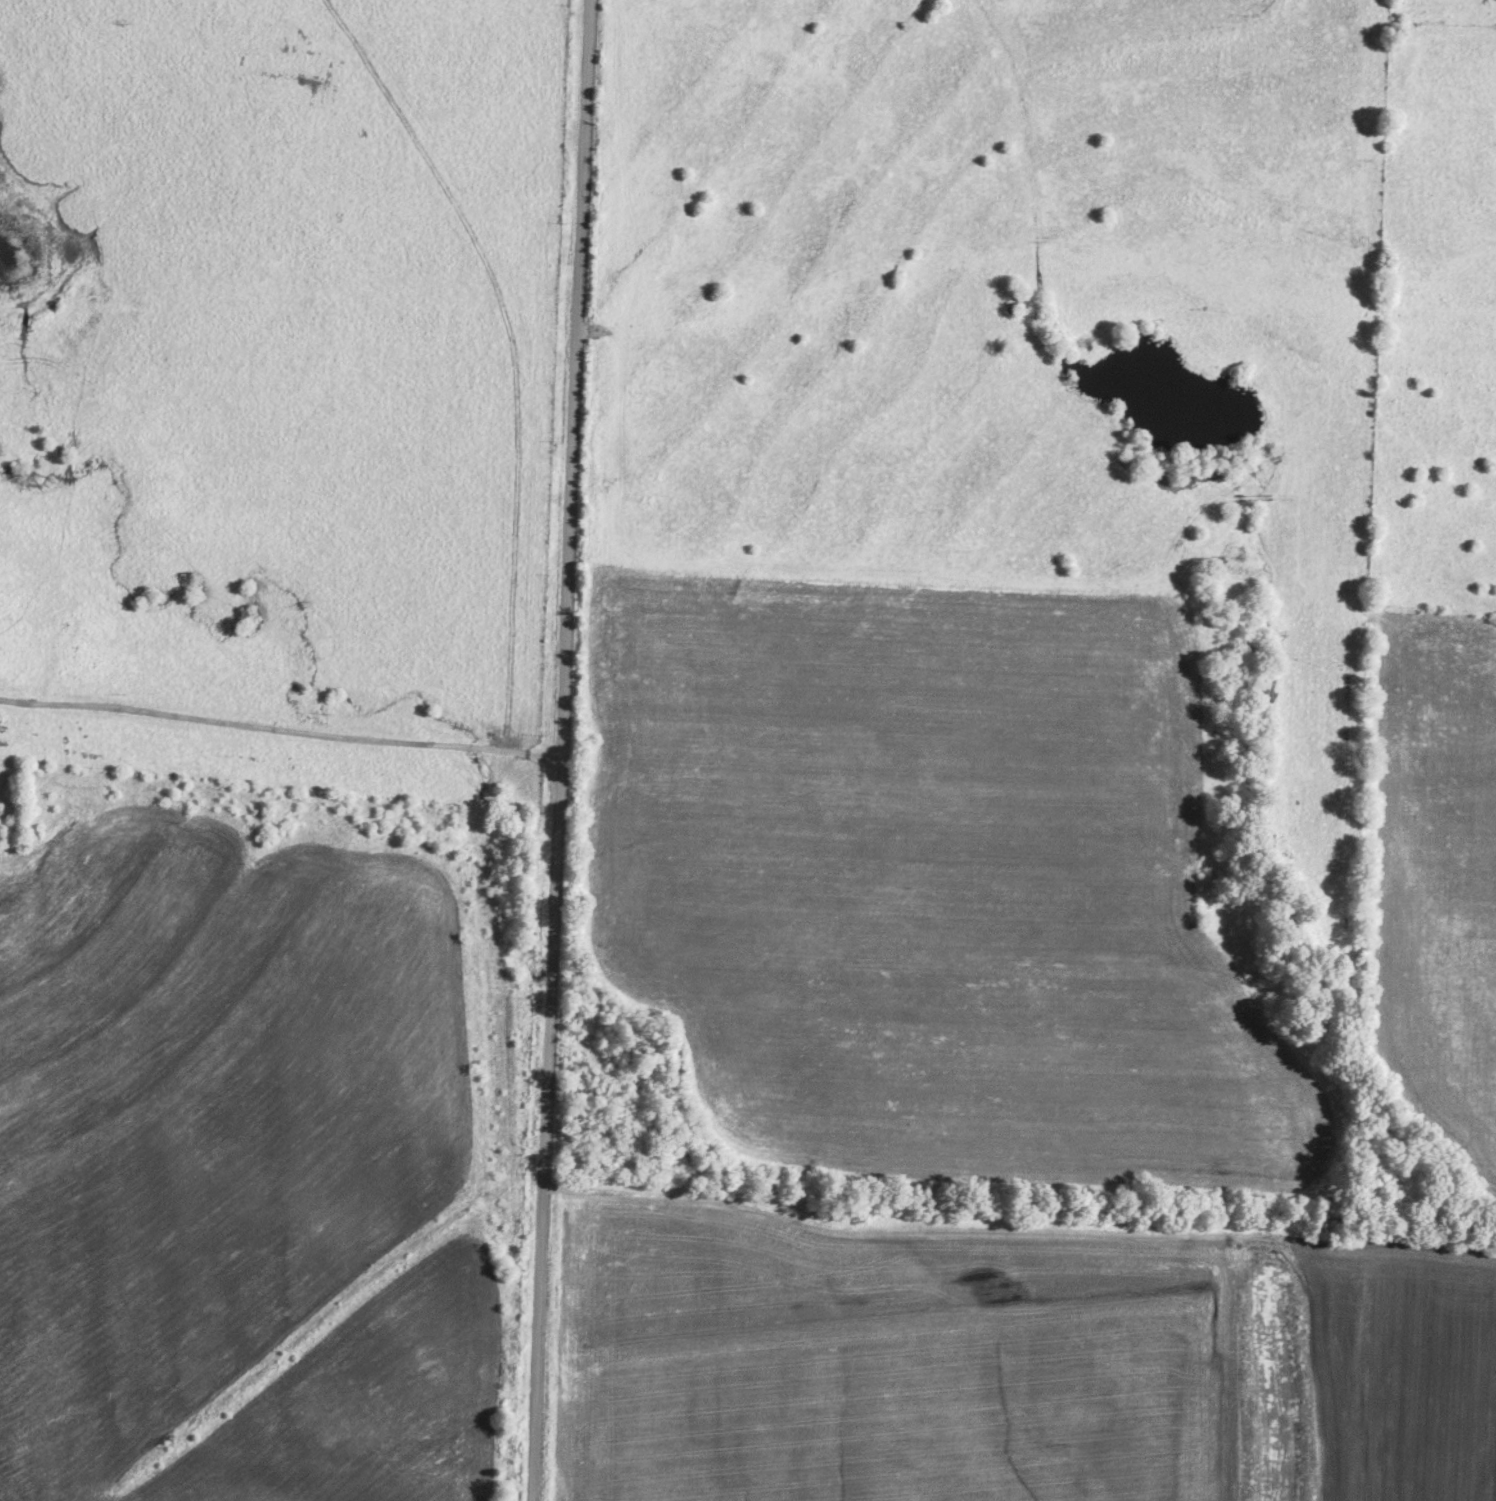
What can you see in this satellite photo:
road: (281, 726)
road: (564, 750)

